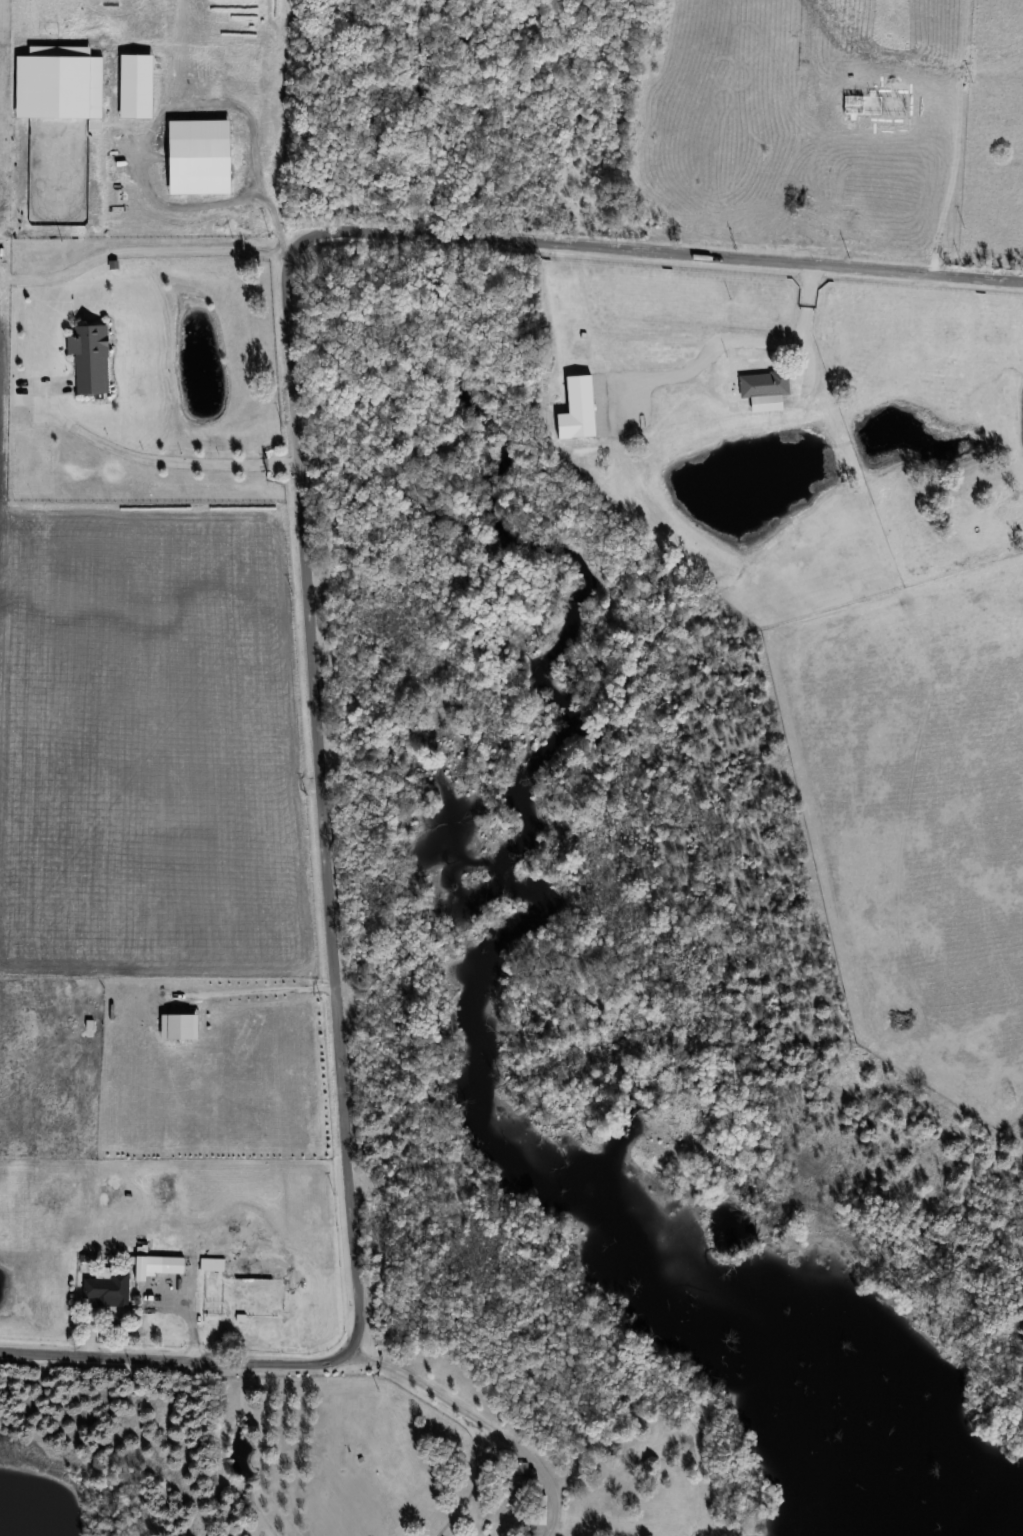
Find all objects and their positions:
building: (55, 76)
building: (132, 79)
building: (876, 105)
road: (173, 106)
building: (195, 151)
road: (896, 208)
road: (140, 248)
building: (578, 340)
building: (85, 352)
building: (672, 353)
building: (758, 379)
parking lot: (44, 392)
building: (762, 397)
road: (743, 402)
building: (578, 408)
road: (132, 455)
road: (302, 600)
road: (240, 987)
building: (174, 1020)
building: (207, 1259)
building: (153, 1260)
building: (212, 1264)
building: (103, 1284)
parking lot: (163, 1289)
road: (83, 1329)
road: (185, 1333)
road: (476, 1418)
building: (520, 1480)
building: (542, 1509)

